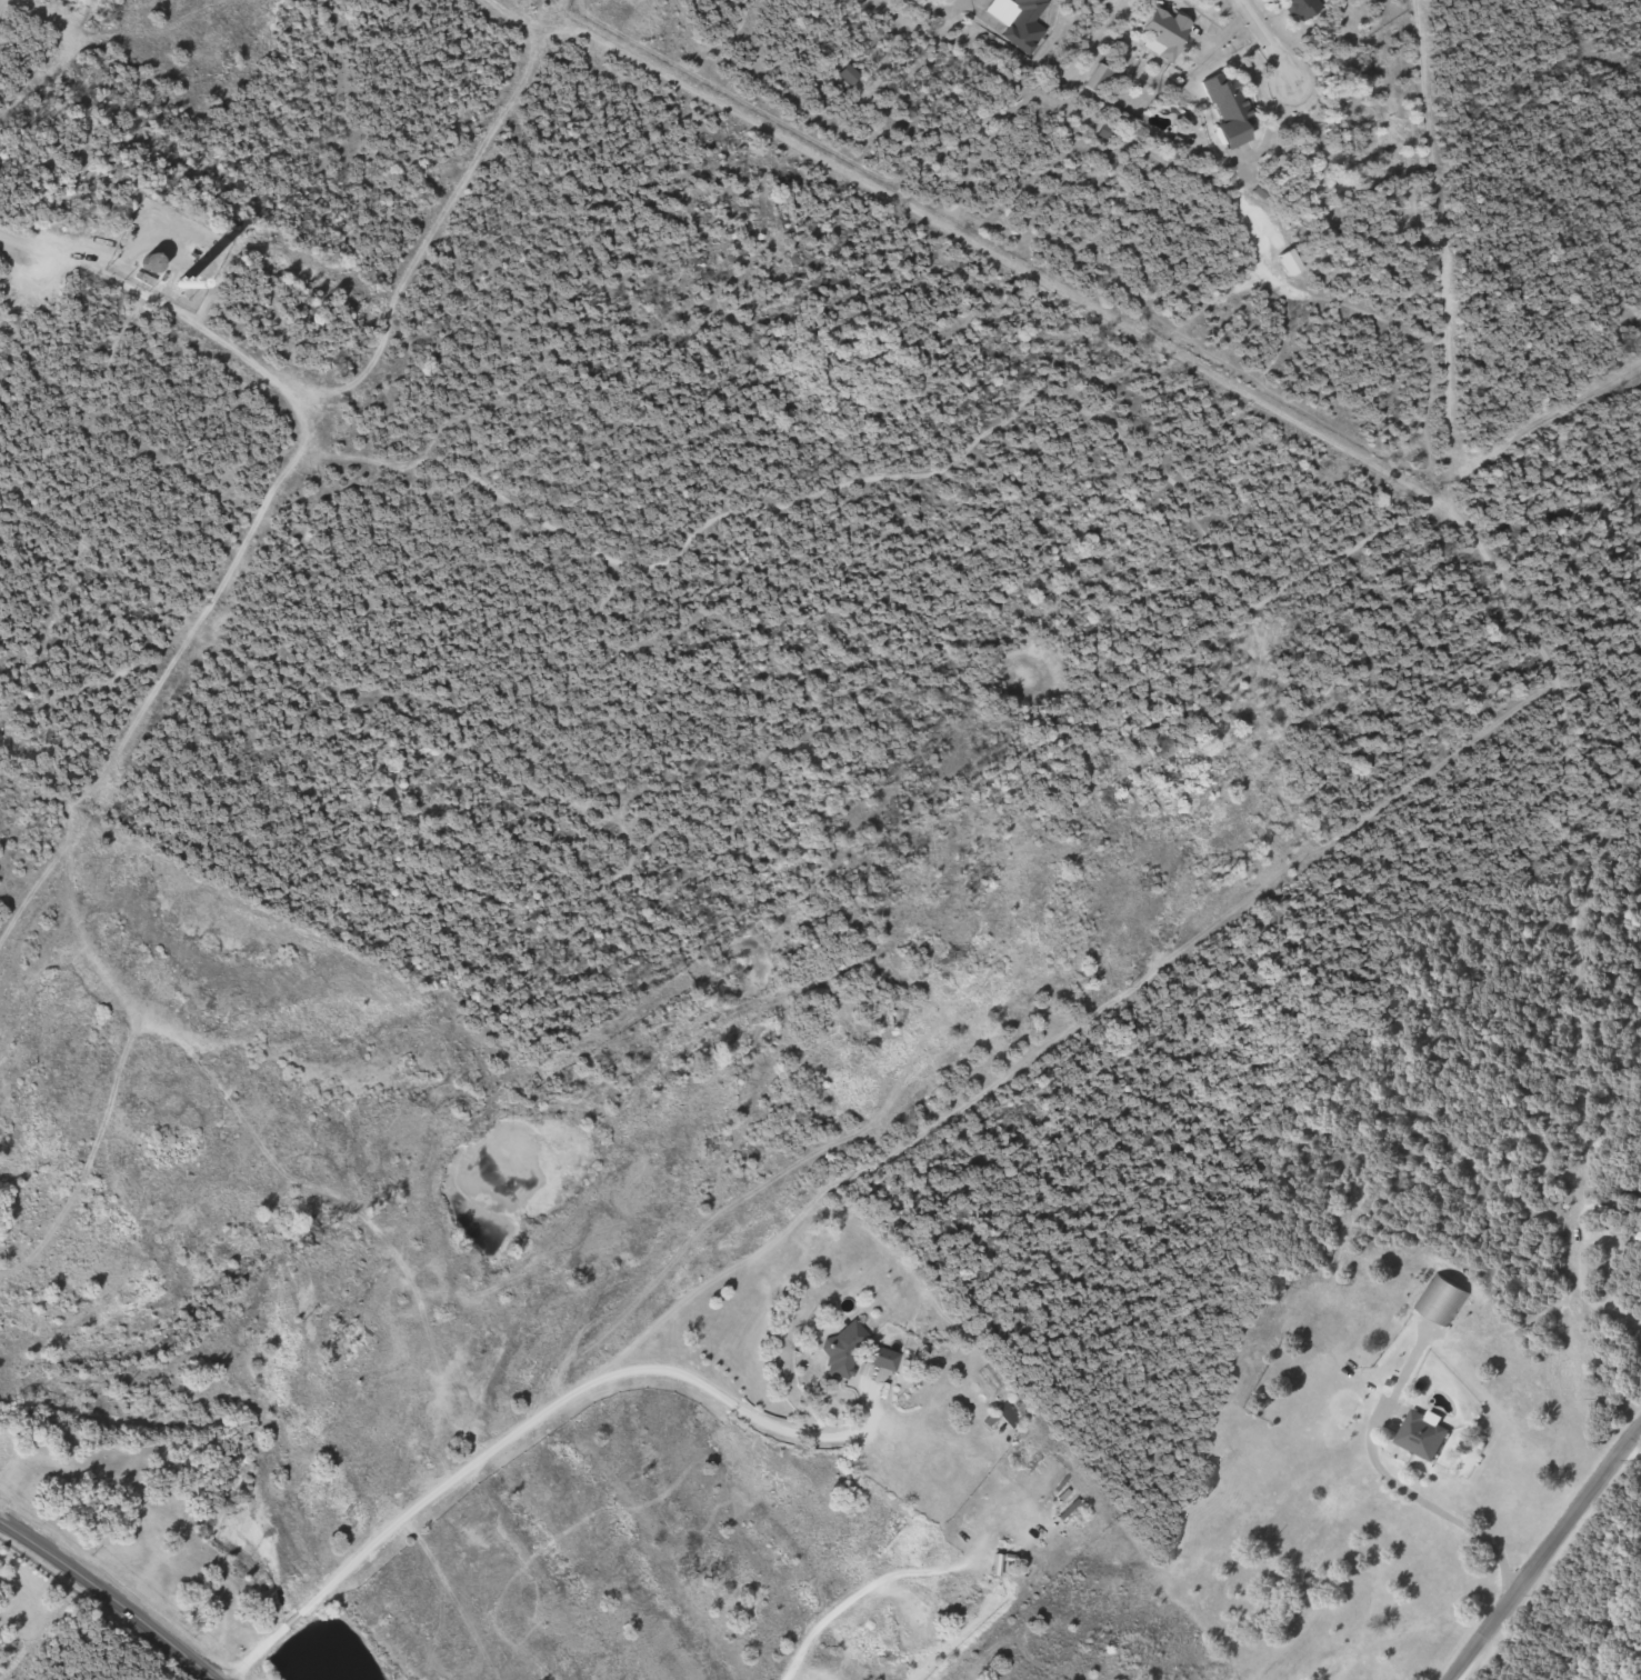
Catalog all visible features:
building: (74, 0)
road: (920, 6)
building: (1297, 8)
building: (1018, 22)
building: (1160, 31)
road: (1267, 42)
building: (1093, 79)
building: (1222, 109)
road: (12, 238)
road: (1443, 241)
building: (143, 263)
road: (1373, 546)
road: (1504, 719)
building: (864, 1051)
building: (958, 1052)
road: (1585, 1240)
building: (1635, 1241)
road: (1625, 1318)
road: (1640, 1324)
building: (346, 1347)
building: (839, 1351)
building: (879, 1359)
road: (527, 1421)
building: (1419, 1437)
road: (1632, 1452)
road: (1425, 1502)
road: (1541, 1552)
road: (109, 1594)

